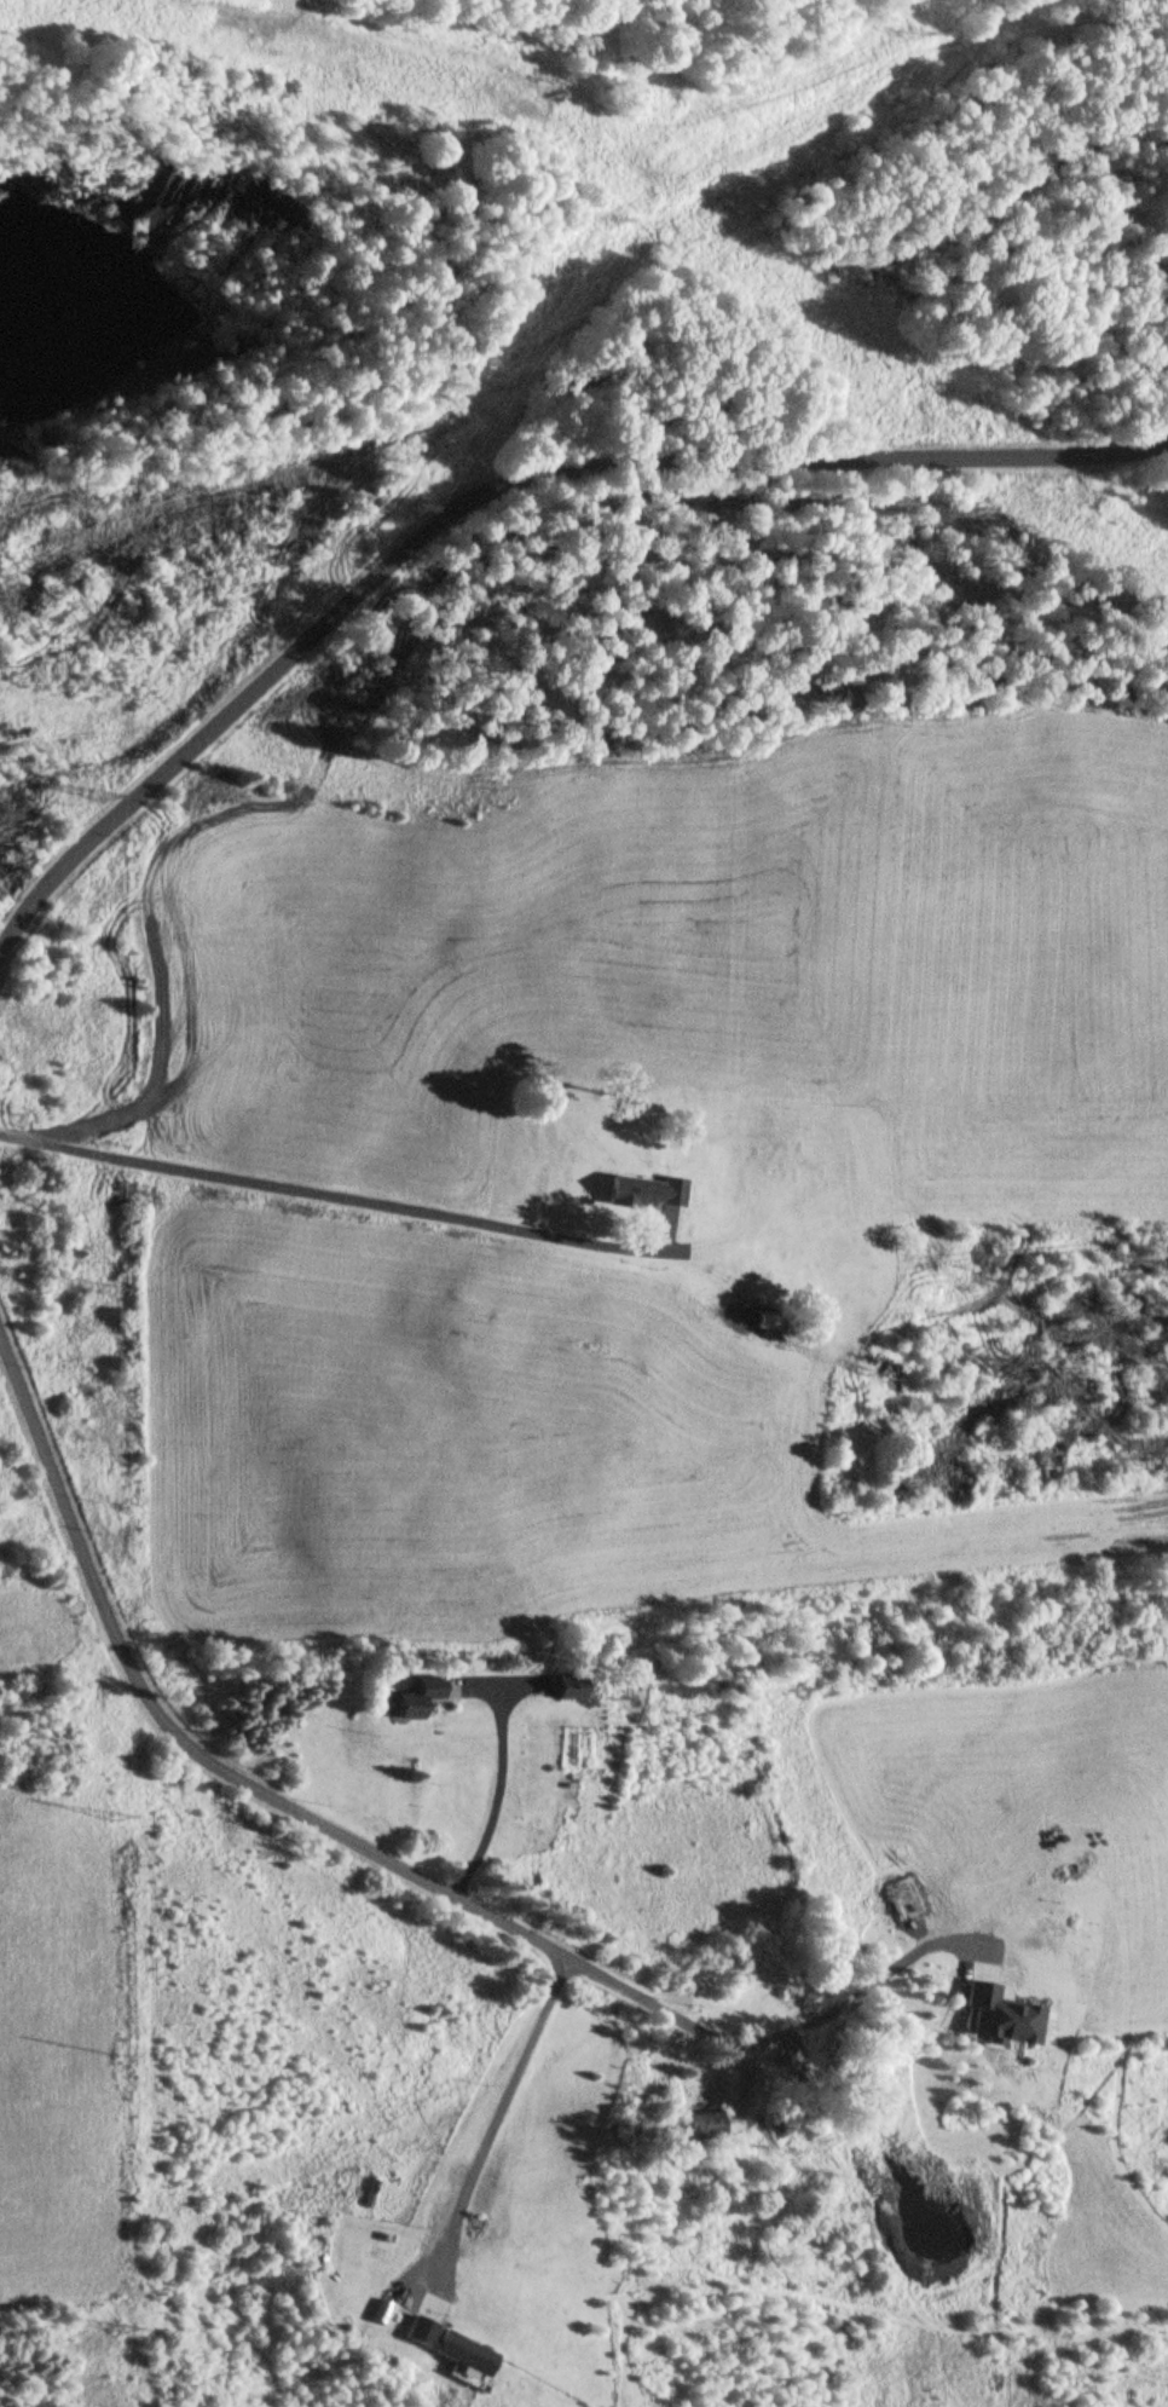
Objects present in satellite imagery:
power tower: (906, 30)
power tower: (601, 210)
power tower: (401, 504)
road: (505, 515)
power tower: (96, 792)
building: (640, 1193)
road: (334, 1199)
building: (751, 1276)
power tower: (97, 1291)
building: (562, 1689)
building: (406, 1699)
road: (243, 1783)
power tower: (105, 1818)
building: (775, 2057)
building: (696, 2070)
building: (692, 2130)
power tower: (108, 2336)
building: (439, 2348)

